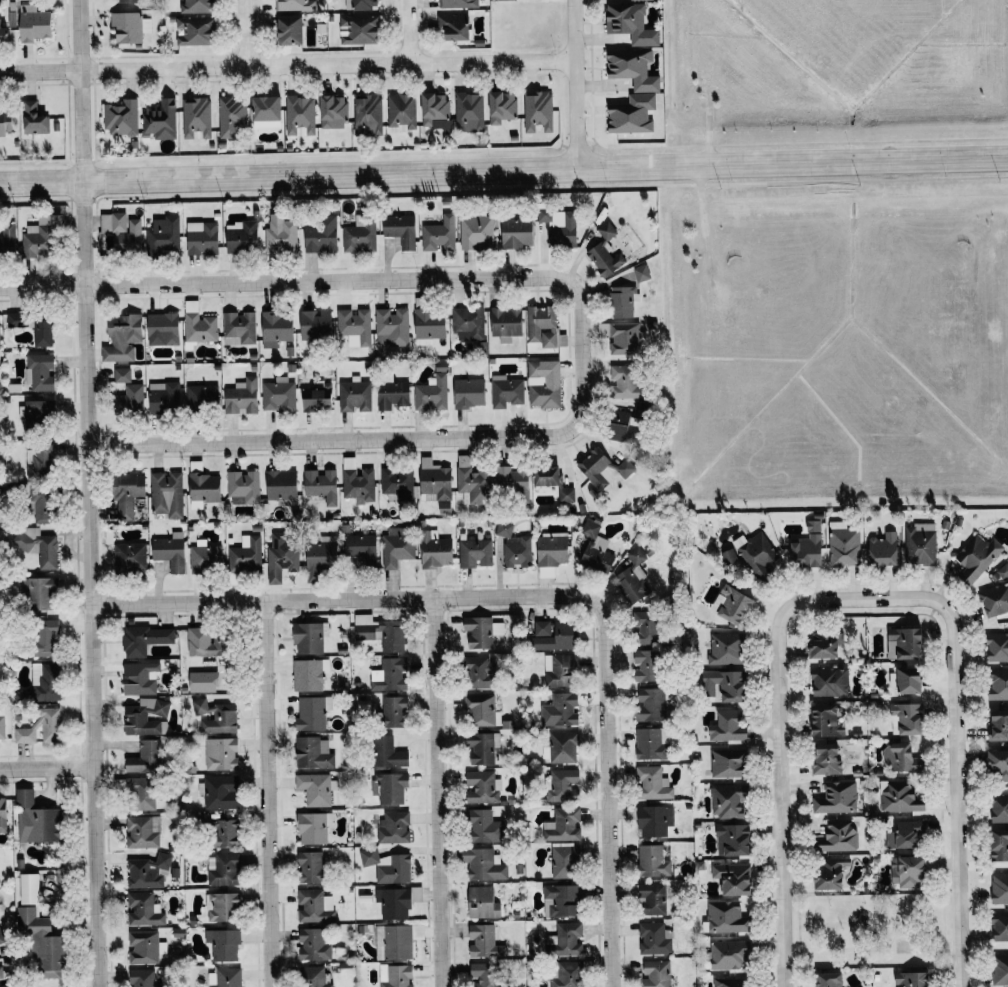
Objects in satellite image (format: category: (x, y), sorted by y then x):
building: (642, 0)
building: (127, 1)
building: (361, 4)
building: (457, 4)
building: (293, 5)
building: (196, 6)
building: (34, 24)
building: (631, 24)
building: (454, 26)
building: (129, 27)
building: (291, 30)
building: (358, 30)
building: (193, 31)
road: (407, 31)
road: (245, 32)
building: (3, 35)
road: (327, 63)
road: (39, 68)
building: (633, 69)
road: (576, 85)
building: (502, 107)
building: (436, 111)
building: (537, 111)
building: (333, 112)
building: (469, 112)
building: (267, 113)
building: (368, 115)
building: (300, 116)
building: (231, 117)
building: (120, 118)
building: (196, 118)
building: (33, 119)
building: (160, 120)
building: (5, 122)
road: (504, 173)
building: (546, 216)
building: (401, 230)
building: (606, 230)
building: (122, 231)
building: (438, 231)
building: (476, 232)
building: (563, 232)
building: (516, 233)
building: (163, 235)
building: (280, 235)
building: (241, 236)
building: (322, 236)
building: (359, 236)
building: (7, 237)
building: (202, 238)
building: (34, 242)
building: (603, 256)
building: (641, 273)
road: (330, 283)
building: (621, 302)
building: (16, 320)
building: (506, 323)
building: (468, 324)
building: (316, 325)
building: (354, 326)
building: (541, 326)
building: (391, 327)
building: (427, 327)
building: (199, 328)
building: (276, 328)
building: (163, 329)
building: (238, 329)
building: (42, 332)
building: (620, 337)
building: (122, 338)
building: (40, 372)
building: (121, 375)
building: (624, 382)
building: (544, 384)
building: (432, 391)
building: (506, 391)
building: (469, 393)
building: (278, 395)
building: (354, 395)
building: (392, 395)
building: (201, 396)
building: (241, 397)
building: (163, 398)
building: (129, 399)
building: (317, 399)
building: (38, 413)
building: (624, 426)
road: (364, 444)
building: (38, 460)
building: (434, 481)
building: (357, 482)
building: (397, 482)
building: (513, 482)
building: (553, 482)
building: (474, 483)
building: (281, 485)
building: (321, 485)
building: (243, 487)
building: (203, 489)
road: (87, 493)
building: (127, 493)
building: (166, 494)
building: (41, 505)
building: (443, 507)
building: (36, 545)
building: (514, 545)
building: (843, 545)
building: (808, 546)
building: (919, 546)
building: (396, 547)
building: (361, 548)
building: (596, 548)
building: (884, 549)
building: (435, 550)
building: (170, 551)
building: (245, 554)
building: (551, 554)
building: (635, 555)
building: (129, 556)
building: (205, 556)
building: (281, 556)
building: (321, 556)
building: (976, 556)
building: (759, 557)
building: (629, 585)
building: (38, 593)
building: (995, 594)
road: (344, 599)
building: (732, 603)
building: (646, 625)
building: (481, 630)
building: (380, 632)
building: (552, 635)
building: (44, 636)
building: (309, 637)
building: (144, 639)
building: (905, 642)
building: (827, 644)
building: (997, 647)
building: (725, 648)
building: (647, 665)
building: (559, 670)
building: (480, 672)
building: (308, 674)
building: (389, 675)
building: (140, 678)
building: (910, 679)
building: (829, 681)
building: (44, 682)
building: (725, 684)
building: (998, 684)
building: (650, 704)
building: (480, 710)
building: (560, 710)
building: (394, 711)
building: (143, 716)
building: (216, 716)
building: (909, 717)
building: (826, 721)
building: (999, 725)
building: (727, 726)
building: (41, 728)
building: (650, 744)
building: (481, 748)
building: (387, 752)
building: (220, 753)
building: (312, 753)
building: (903, 757)
road: (958, 757)
building: (144, 758)
road: (781, 758)
building: (826, 758)
building: (727, 762)
building: (999, 765)
road: (46, 769)
building: (652, 783)
building: (563, 784)
building: (391, 787)
building: (481, 787)
building: (314, 788)
building: (219, 792)
road: (436, 792)
road: (266, 794)
road: (608, 794)
building: (143, 795)
building: (901, 797)
building: (836, 798)
building: (728, 800)
building: (999, 808)
building: (2, 814)
building: (35, 819)
building: (654, 820)
building: (563, 825)
building: (484, 826)
building: (313, 827)
building: (393, 828)
building: (142, 831)
building: (224, 833)
building: (905, 833)
building: (838, 836)
building: (733, 839)
building: (999, 845)
building: (564, 860)
building: (653, 860)
building: (482, 863)
building: (310, 866)
building: (387, 866)
building: (222, 869)
building: (147, 871)
building: (909, 871)
building: (831, 872)
building: (733, 877)
building: (29, 888)
building: (1000, 888)
building: (653, 897)
building: (562, 899)
building: (393, 902)
building: (482, 902)
building: (222, 906)
building: (315, 906)
building: (143, 909)
building: (727, 917)
building: (55, 925)
building: (1000, 926)
building: (1, 939)
building: (566, 939)
building: (653, 939)
building: (484, 941)
building: (393, 942)
building: (42, 943)
building: (223, 944)
building: (313, 944)
building: (144, 947)
building: (730, 955)
building: (1000, 969)
building: (0, 972)
building: (567, 974)
building: (656, 974)
building: (395, 975)
building: (226, 977)
building: (314, 977)
building: (142, 978)
building: (829, 979)
building: (912, 979)
building: (732, 982)
building: (4, 985)

